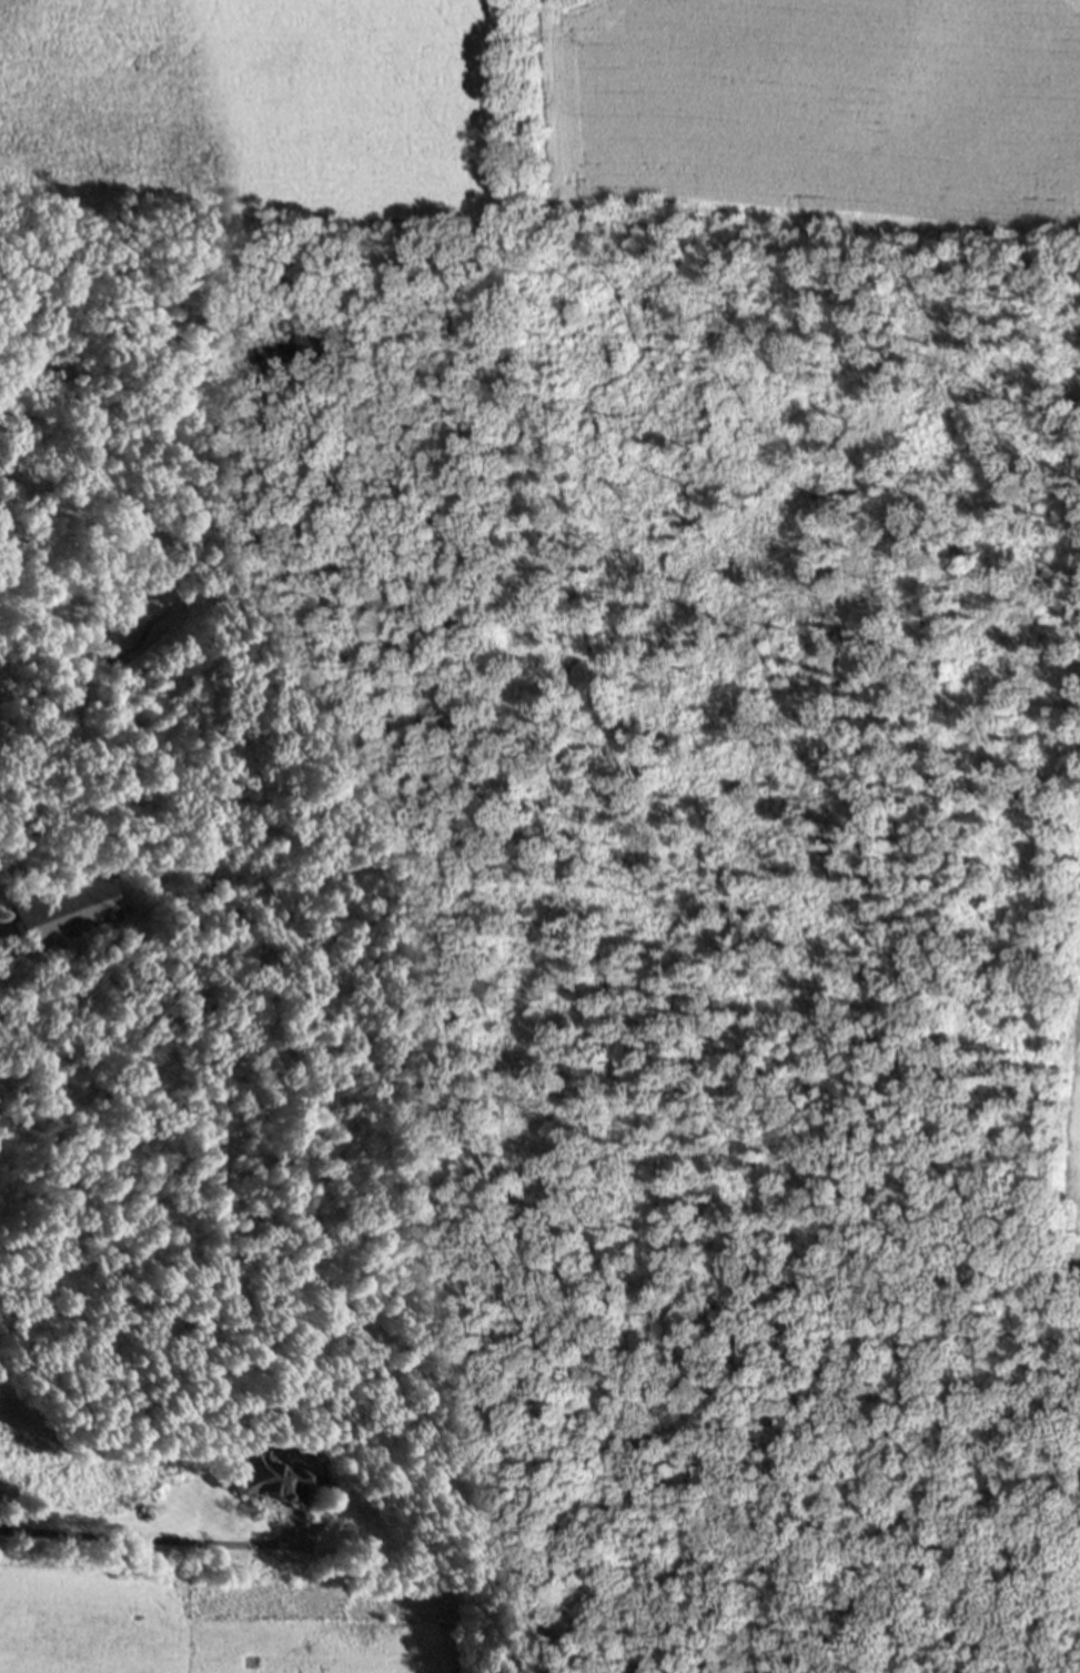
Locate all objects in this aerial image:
crop: (264, 109)
park: (798, 753)
building: (59, 904)
building: (269, 1474)
road: (147, 1542)
crop: (245, 1633)

